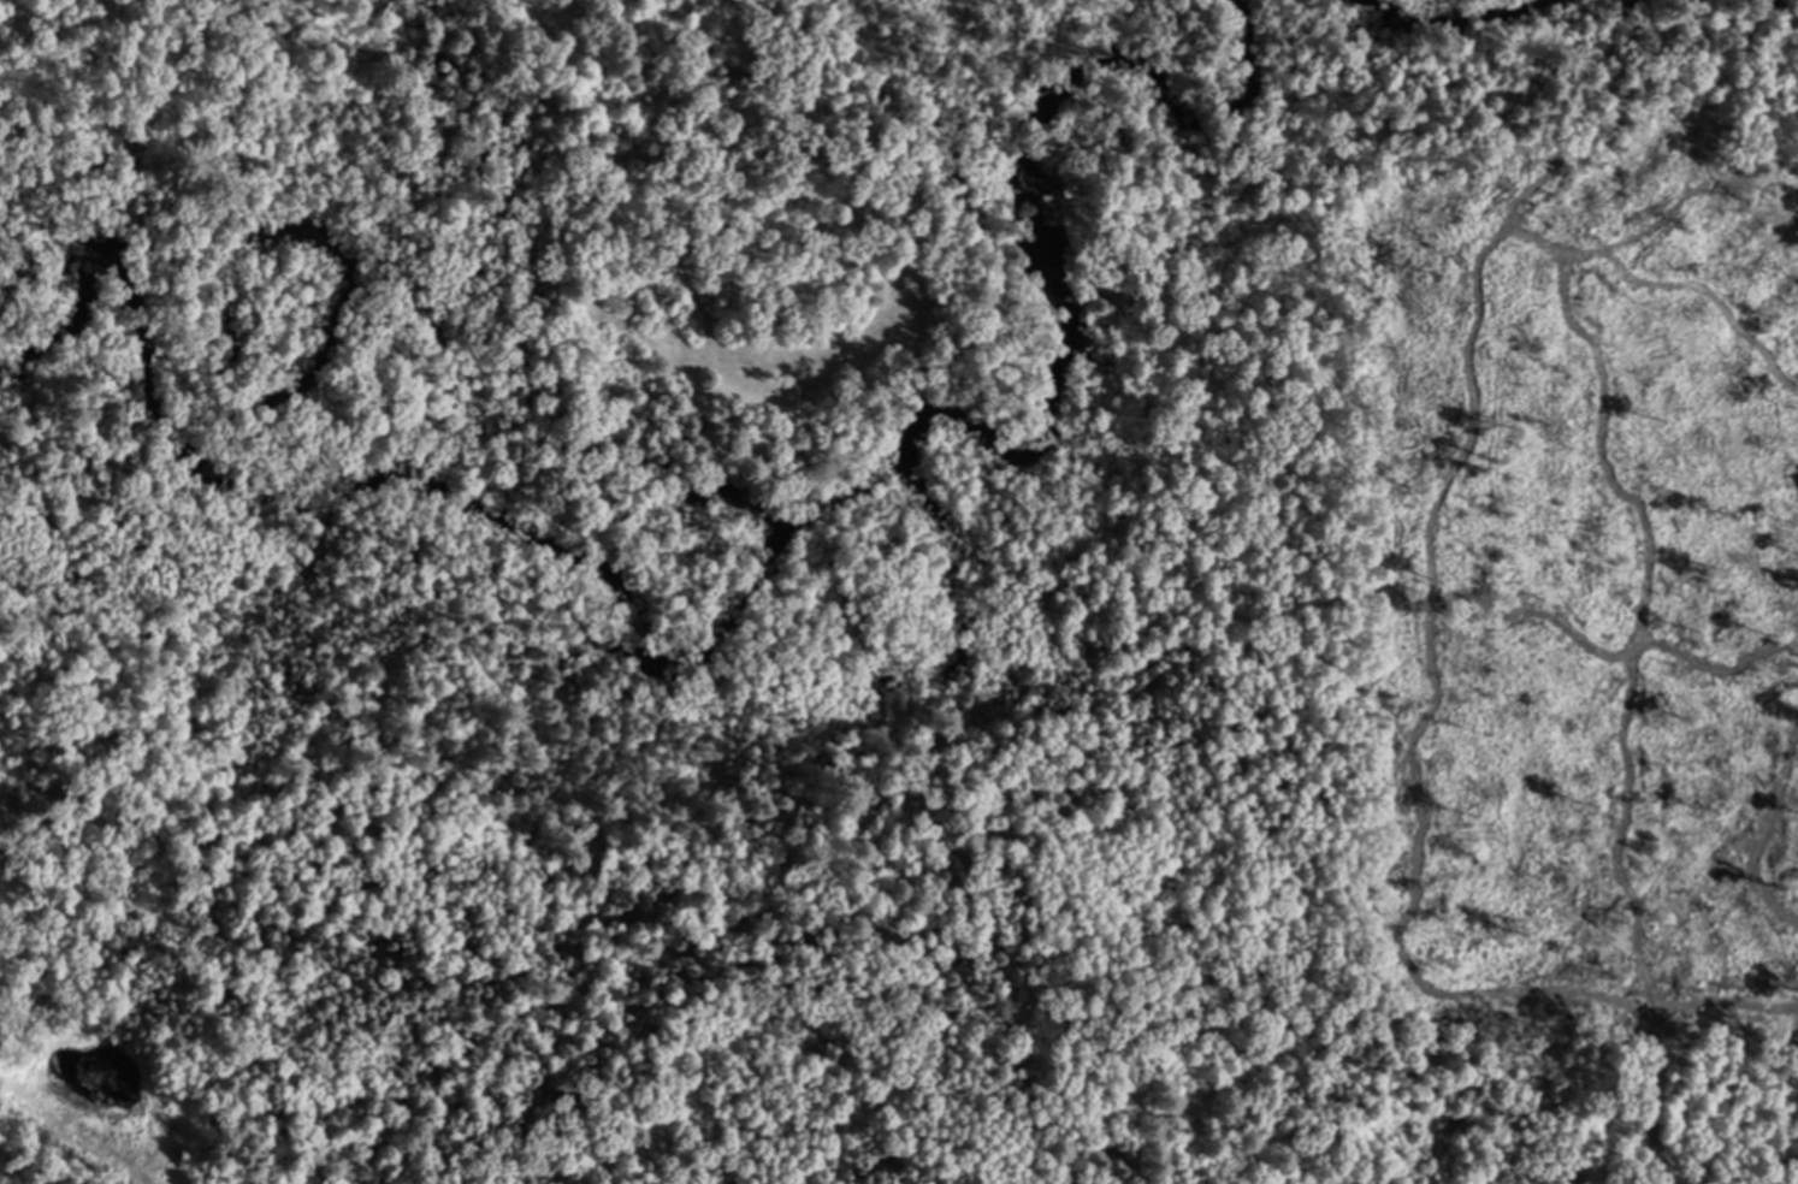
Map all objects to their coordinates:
river: (1455, 18)
park: (107, 20)
river: (107, 274)
river: (911, 458)
road: (52, 1162)

